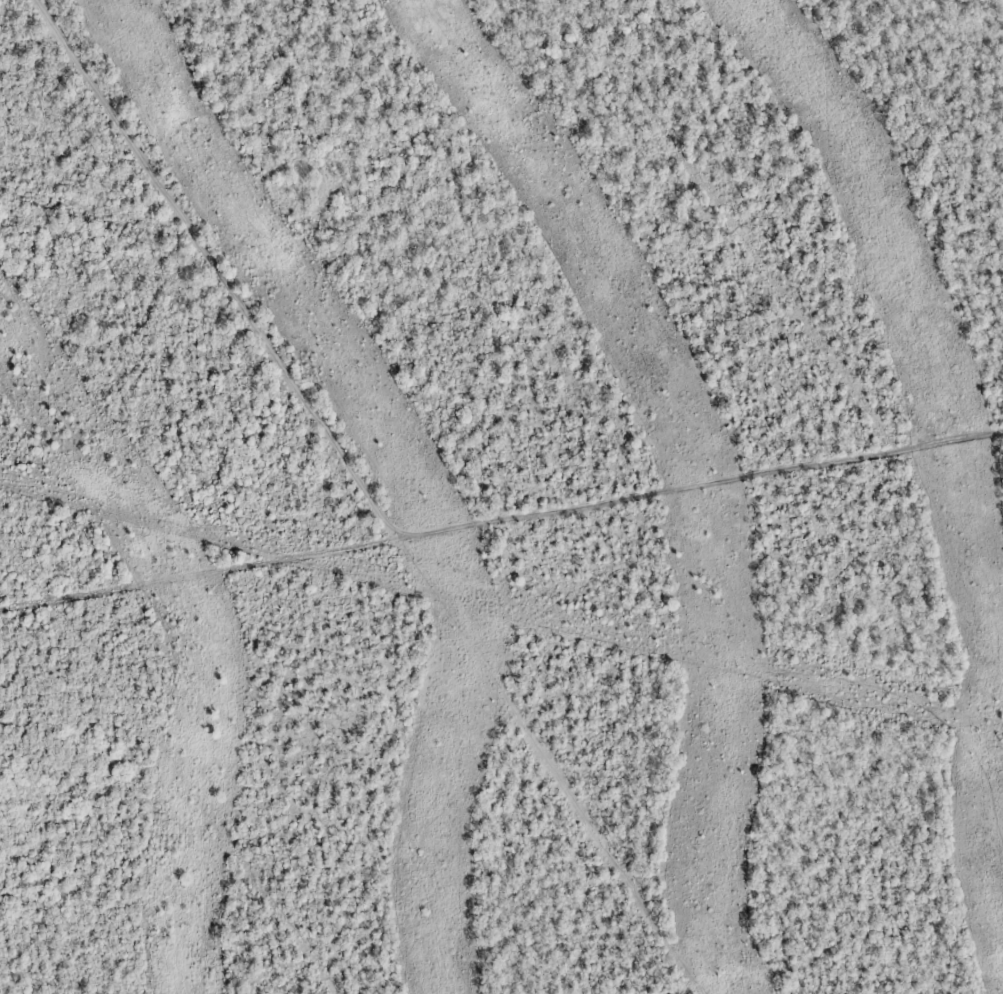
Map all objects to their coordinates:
road: (619, 373)

